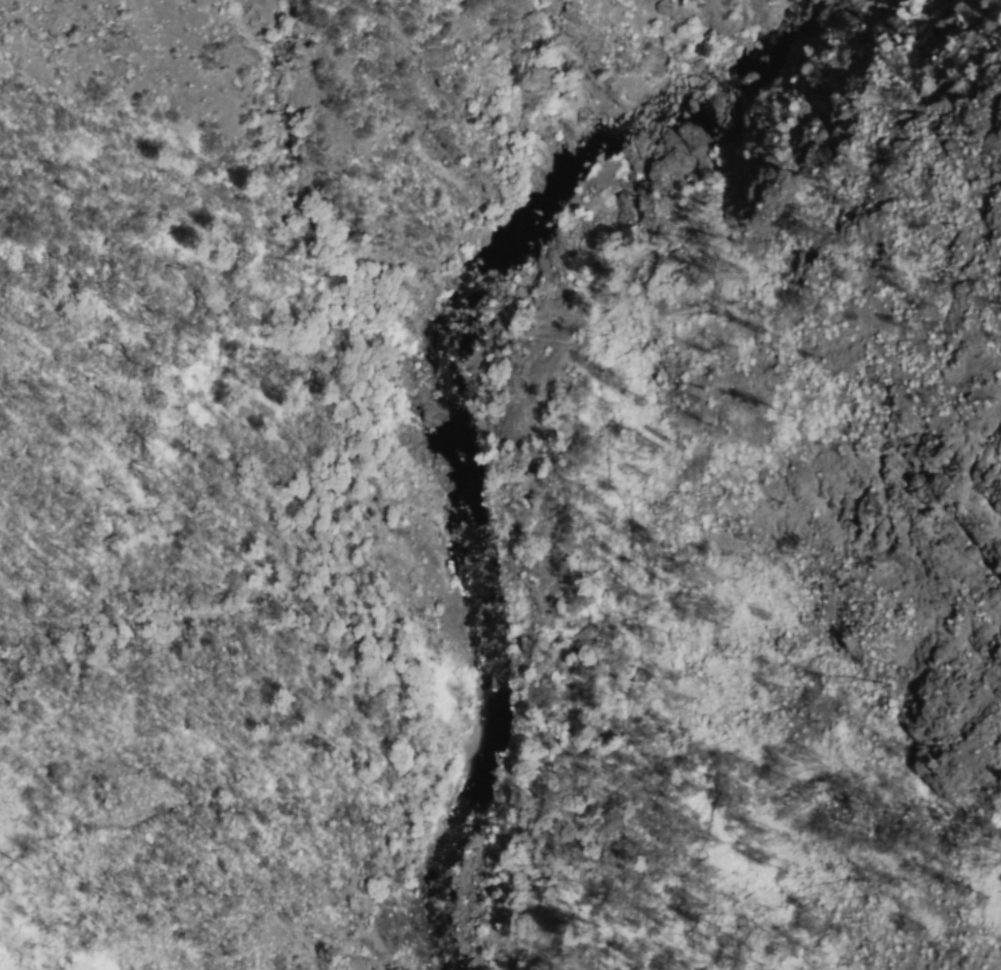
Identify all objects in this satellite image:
river: (439, 407)

